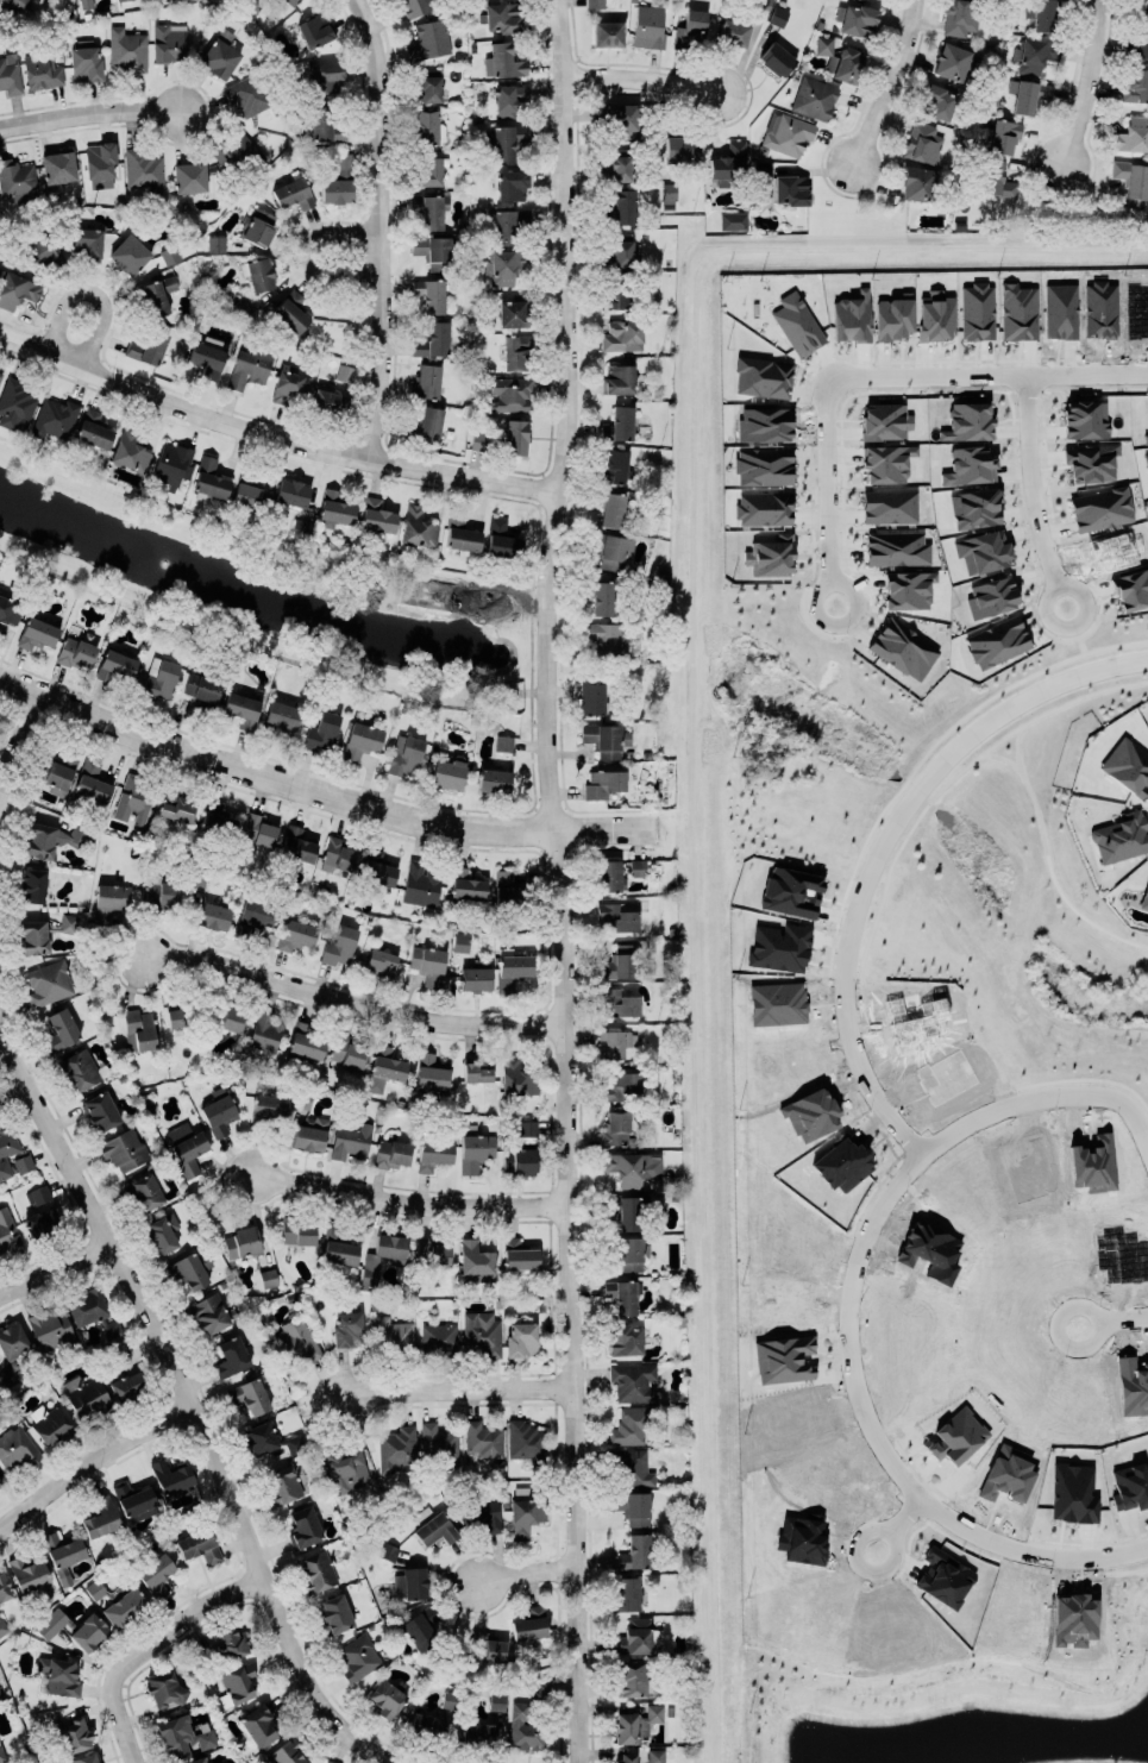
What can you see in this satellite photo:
building: (120, 0)
building: (290, 1)
building: (13, 4)
building: (84, 4)
building: (595, 4)
building: (761, 5)
building: (416, 6)
building: (1140, 7)
building: (155, 13)
building: (1041, 14)
building: (778, 15)
building: (500, 17)
building: (961, 17)
building: (855, 19)
building: (650, 25)
building: (315, 30)
building: (690, 30)
building: (734, 32)
building: (609, 33)
building: (429, 38)
building: (169, 40)
building: (1142, 40)
building: (127, 48)
building: (1037, 54)
building: (219, 57)
building: (777, 58)
building: (840, 59)
building: (503, 61)
building: (952, 61)
building: (86, 63)
building: (42, 70)
road: (645, 71)
building: (10, 73)
building: (325, 77)
road: (892, 83)
building: (1136, 84)
road: (1091, 87)
building: (426, 89)
building: (247, 94)
building: (1030, 96)
building: (510, 98)
building: (814, 98)
building: (935, 101)
road: (88, 112)
building: (620, 119)
building: (324, 124)
building: (427, 126)
building: (786, 133)
building: (1003, 133)
building: (1131, 134)
building: (506, 139)
building: (922, 142)
building: (680, 149)
building: (237, 153)
building: (729, 162)
building: (100, 164)
building: (620, 164)
building: (58, 167)
building: (144, 168)
building: (428, 170)
building: (189, 176)
building: (1133, 177)
building: (763, 178)
building: (17, 180)
building: (340, 180)
building: (996, 180)
building: (512, 183)
building: (917, 183)
building: (790, 189)
building: (667, 190)
building: (293, 193)
building: (620, 207)
building: (429, 211)
building: (733, 220)
building: (1146, 221)
building: (504, 225)
building: (257, 226)
road: (387, 227)
building: (88, 241)
building: (215, 243)
road: (309, 249)
building: (40, 250)
building: (128, 253)
building: (169, 253)
building: (439, 253)
building: (617, 253)
building: (506, 264)
building: (258, 272)
road: (92, 288)
building: (17, 289)
building: (158, 294)
building: (429, 294)
building: (615, 296)
building: (290, 312)
building: (514, 312)
building: (977, 312)
building: (1018, 312)
building: (935, 315)
building: (851, 316)
building: (892, 316)
building: (797, 324)
building: (622, 334)
building: (433, 340)
building: (150, 346)
building: (516, 351)
building: (207, 358)
building: (247, 369)
building: (345, 372)
building: (1, 374)
road: (878, 374)
building: (620, 378)
building: (426, 379)
building: (290, 385)
building: (509, 393)
building: (330, 401)
building: (15, 404)
building: (54, 418)
building: (884, 421)
building: (968, 421)
building: (619, 424)
building: (425, 425)
building: (94, 428)
road: (271, 434)
building: (516, 437)
building: (478, 440)
building: (130, 450)
building: (886, 462)
building: (172, 463)
building: (615, 465)
building: (209, 478)
road: (1031, 491)
building: (246, 492)
building: (293, 492)
building: (889, 506)
building: (1100, 508)
building: (334, 509)
building: (614, 509)
building: (377, 515)
building: (416, 526)
building: (300, 529)
building: (462, 533)
building: (503, 539)
building: (896, 547)
building: (613, 552)
building: (907, 589)
building: (601, 596)
building: (990, 596)
building: (10, 610)
building: (37, 634)
building: (608, 639)
building: (996, 641)
building: (902, 648)
building: (75, 652)
building: (115, 665)
building: (159, 678)
building: (202, 690)
building: (591, 698)
building: (243, 708)
building: (280, 719)
building: (321, 732)
building: (606, 739)
road: (15, 740)
building: (362, 740)
building: (503, 742)
building: (404, 752)
building: (1128, 763)
building: (446, 768)
building: (62, 770)
building: (493, 778)
building: (92, 783)
building: (603, 783)
road: (315, 789)
building: (133, 798)
building: (177, 808)
building: (215, 820)
building: (258, 824)
building: (51, 836)
building: (1121, 836)
building: (296, 842)
building: (338, 855)
building: (376, 866)
building: (636, 867)
building: (608, 870)
road: (553, 880)
building: (32, 884)
building: (420, 884)
building: (466, 885)
building: (504, 887)
building: (791, 891)
building: (162, 892)
building: (1146, 895)
building: (111, 901)
building: (212, 910)
building: (252, 914)
building: (616, 915)
building: (43, 931)
building: (295, 934)
building: (460, 942)
building: (339, 946)
building: (779, 946)
building: (428, 961)
building: (379, 962)
building: (619, 962)
building: (512, 970)
building: (473, 972)
road: (843, 974)
building: (49, 983)
road: (345, 995)
building: (615, 1000)
building: (180, 1017)
building: (226, 1017)
building: (59, 1027)
building: (137, 1027)
building: (264, 1031)
building: (306, 1041)
building: (613, 1041)
building: (346, 1052)
building: (387, 1061)
building: (79, 1066)
building: (477, 1067)
building: (431, 1073)
building: (516, 1073)
building: (619, 1085)
road: (12, 1087)
building: (266, 1106)
building: (100, 1111)
building: (219, 1111)
building: (614, 1125)
building: (527, 1128)
building: (309, 1133)
building: (351, 1138)
building: (186, 1147)
building: (6, 1148)
building: (124, 1149)
building: (432, 1152)
building: (475, 1152)
building: (391, 1153)
building: (519, 1160)
building: (23, 1162)
building: (631, 1165)
building: (143, 1187)
building: (37, 1194)
road: (408, 1196)
building: (625, 1205)
building: (42, 1224)
building: (296, 1229)
building: (8, 1230)
building: (161, 1231)
building: (243, 1240)
building: (338, 1243)
building: (431, 1249)
building: (517, 1251)
building: (382, 1254)
building: (631, 1254)
building: (476, 1260)
building: (189, 1267)
road: (54, 1269)
building: (268, 1278)
building: (622, 1293)
building: (90, 1309)
building: (208, 1311)
road: (1129, 1320)
building: (347, 1326)
building: (50, 1328)
road: (1058, 1331)
building: (481, 1332)
building: (394, 1334)
building: (521, 1338)
building: (438, 1339)
building: (625, 1339)
building: (295, 1341)
building: (11, 1348)
building: (231, 1356)
building: (633, 1381)
building: (127, 1385)
road: (456, 1388)
building: (247, 1393)
building: (86, 1397)
road: (193, 1406)
building: (50, 1423)
building: (629, 1425)
building: (269, 1437)
building: (482, 1437)
building: (527, 1439)
building: (439, 1443)
road: (874, 1443)
building: (395, 1445)
building: (17, 1448)
road: (93, 1460)
building: (500, 1462)
building: (631, 1467)
building: (346, 1469)
building: (170, 1476)
building: (282, 1482)
building: (0, 1486)
building: (523, 1492)
building: (134, 1499)
building: (632, 1506)
building: (481, 1512)
building: (100, 1516)
building: (525, 1516)
road: (903, 1518)
building: (305, 1526)
building: (432, 1526)
building: (199, 1543)
road: (855, 1550)
building: (388, 1551)
building: (63, 1554)
building: (638, 1554)
building: (318, 1570)
building: (27, 1571)
building: (155, 1571)
road: (525, 1573)
building: (412, 1583)
building: (625, 1593)
building: (117, 1600)
building: (334, 1612)
building: (529, 1621)
building: (48, 1625)
building: (422, 1629)
building: (88, 1631)
building: (633, 1636)
building: (231, 1640)
road: (148, 1642)
building: (488, 1645)
building: (357, 1656)
building: (58, 1674)
building: (632, 1677)
building: (237, 1680)
building: (164, 1686)
building: (540, 1686)
building: (385, 1695)
building: (0, 1696)
building: (447, 1698)
building: (496, 1701)
building: (635, 1721)
building: (426, 1723)
building: (258, 1724)
building: (523, 1727)
building: (478, 1731)
building: (181, 1733)
building: (74, 1734)
building: (1, 1753)
building: (286, 1753)
building: (654, 1755)
building: (625, 1757)
building: (83, 1758)
building: (195, 1759)
building: (330, 1761)
building: (215, 1762)

